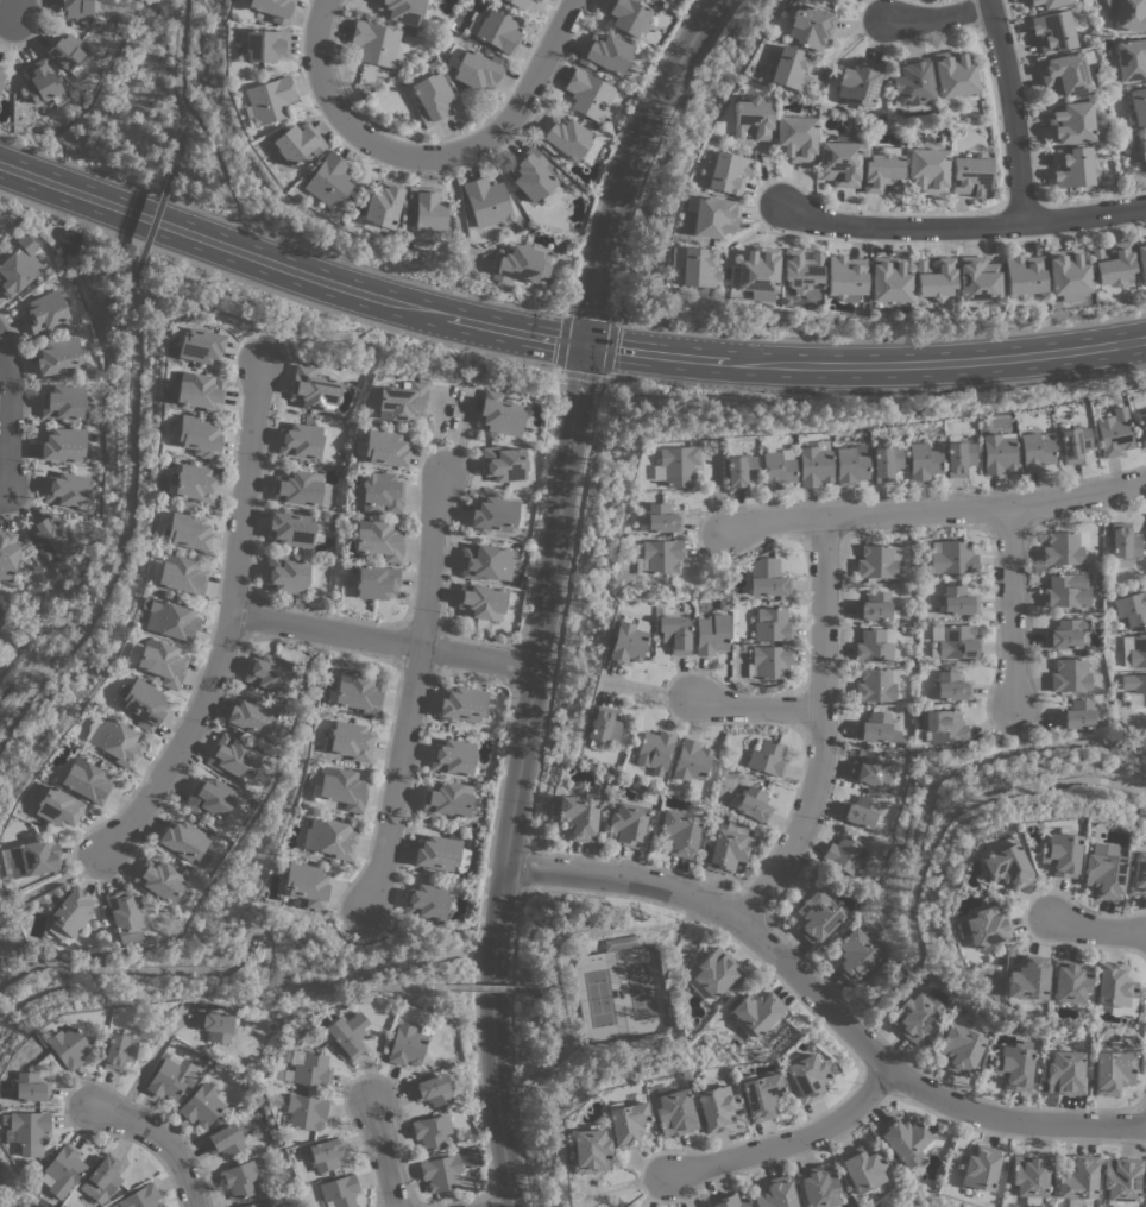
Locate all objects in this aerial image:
building: (537, 0)
building: (824, 0)
building: (830, 1)
building: (1049, 2)
building: (518, 4)
road: (21, 7)
building: (76, 8)
building: (273, 10)
building: (1108, 10)
building: (405, 11)
building: (1129, 14)
building: (626, 15)
road: (944, 20)
building: (808, 26)
building: (493, 30)
building: (1052, 30)
building: (374, 43)
building: (262, 44)
building: (68, 54)
building: (605, 54)
building: (1131, 59)
building: (788, 67)
building: (0, 68)
building: (474, 68)
building: (953, 73)
building: (1063, 74)
building: (1, 78)
building: (912, 82)
building: (42, 83)
building: (858, 83)
road: (177, 89)
building: (588, 94)
building: (432, 98)
building: (267, 100)
building: (1136, 107)
road: (1009, 111)
building: (751, 118)
building: (1070, 122)
building: (796, 137)
building: (563, 138)
building: (296, 143)
building: (1141, 151)
road: (432, 157)
building: (839, 161)
road: (626, 163)
building: (1072, 166)
building: (882, 169)
building: (927, 169)
building: (726, 171)
building: (530, 174)
building: (970, 175)
road: (219, 176)
building: (328, 181)
building: (486, 201)
building: (382, 205)
building: (427, 208)
building: (711, 215)
road: (149, 224)
road: (959, 226)
building: (65, 241)
building: (1140, 257)
building: (517, 264)
building: (1113, 264)
building: (20, 265)
building: (693, 265)
building: (757, 272)
building: (801, 272)
building: (1066, 275)
building: (844, 277)
building: (934, 278)
building: (1024, 278)
building: (887, 279)
building: (977, 281)
road: (275, 291)
building: (44, 312)
road: (609, 319)
road: (262, 327)
road: (560, 340)
building: (197, 345)
traffic signals: (585, 345)
building: (58, 356)
building: (313, 389)
building: (196, 390)
building: (401, 401)
building: (63, 402)
building: (499, 414)
road: (8, 420)
building: (1141, 426)
building: (1113, 432)
building: (197, 435)
building: (300, 440)
building: (1073, 442)
building: (63, 444)
building: (383, 448)
building: (1034, 451)
road: (128, 452)
building: (997, 452)
building: (958, 457)
building: (883, 459)
building: (921, 460)
building: (503, 463)
building: (850, 464)
building: (675, 465)
building: (812, 466)
building: (775, 467)
building: (737, 469)
building: (193, 483)
building: (298, 488)
building: (67, 489)
building: (380, 492)
road: (540, 507)
building: (493, 514)
road: (939, 515)
building: (661, 517)
building: (290, 528)
building: (185, 530)
building: (378, 540)
building: (1125, 541)
building: (52, 542)
building: (1063, 547)
building: (7, 553)
building: (661, 554)
building: (951, 557)
building: (875, 561)
building: (485, 562)
building: (177, 574)
building: (285, 574)
building: (767, 578)
building: (376, 582)
building: (1065, 590)
building: (481, 601)
building: (958, 601)
building: (874, 605)
building: (1132, 608)
road: (1009, 609)
road: (560, 610)
building: (169, 618)
road: (229, 621)
building: (770, 624)
road: (34, 629)
building: (673, 633)
building: (711, 633)
building: (1065, 633)
building: (626, 640)
building: (957, 641)
road: (382, 642)
building: (874, 645)
building: (1133, 649)
building: (157, 660)
building: (770, 661)
road: (516, 665)
building: (267, 672)
building: (1069, 674)
road: (38, 678)
building: (875, 685)
building: (950, 685)
building: (1134, 689)
building: (358, 692)
road: (410, 692)
building: (140, 703)
building: (461, 704)
road: (754, 708)
building: (251, 715)
building: (1076, 715)
road: (1015, 725)
building: (602, 727)
building: (944, 727)
building: (876, 728)
road: (818, 730)
building: (113, 738)
building: (348, 740)
building: (654, 750)
building: (452, 756)
building: (767, 756)
building: (232, 757)
building: (691, 762)
building: (869, 767)
road: (516, 774)
building: (84, 780)
building: (338, 787)
road: (1018, 788)
building: (209, 797)
building: (447, 800)
building: (753, 804)
building: (57, 806)
road: (923, 807)
building: (861, 812)
building: (579, 815)
building: (630, 821)
building: (680, 831)
building: (329, 837)
building: (183, 840)
building: (725, 851)
building: (1059, 853)
building: (440, 854)
building: (844, 854)
building: (30, 859)
building: (1006, 866)
road: (518, 868)
building: (1102, 870)
building: (1138, 874)
building: (160, 879)
road: (56, 884)
building: (306, 884)
building: (428, 901)
building: (70, 914)
building: (125, 914)
building: (817, 914)
building: (987, 926)
road: (1100, 929)
road: (477, 937)
road: (245, 941)
building: (855, 954)
road: (550, 960)
road: (401, 964)
building: (716, 972)
building: (1027, 980)
building: (1071, 982)
road: (487, 987)
road: (539, 987)
building: (1115, 988)
road: (821, 1002)
building: (756, 1012)
building: (913, 1017)
building: (215, 1026)
building: (347, 1033)
building: (405, 1045)
building: (67, 1046)
road: (509, 1049)
building: (959, 1049)
building: (118, 1050)
building: (1013, 1067)
building: (310, 1070)
building: (1112, 1071)
building: (1065, 1073)
building: (807, 1077)
building: (166, 1080)
building: (29, 1087)
building: (432, 1089)
building: (760, 1094)
building: (202, 1104)
building: (714, 1107)
building: (304, 1111)
building: (674, 1112)
building: (626, 1121)
building: (27, 1131)
building: (430, 1131)
road: (158, 1138)
building: (225, 1139)
building: (905, 1139)
road: (792, 1146)
building: (588, 1150)
building: (325, 1153)
road: (379, 1153)
building: (472, 1157)
building: (863, 1168)
building: (978, 1168)
building: (62, 1170)
building: (440, 1173)
building: (105, 1174)
building: (1029, 1176)
building: (1078, 1177)
building: (1121, 1177)
building: (239, 1178)
building: (818, 1184)
building: (339, 1190)
building: (775, 1193)
building: (140, 1197)
road: (490, 1199)
building: (726, 1200)
building: (257, 1203)

